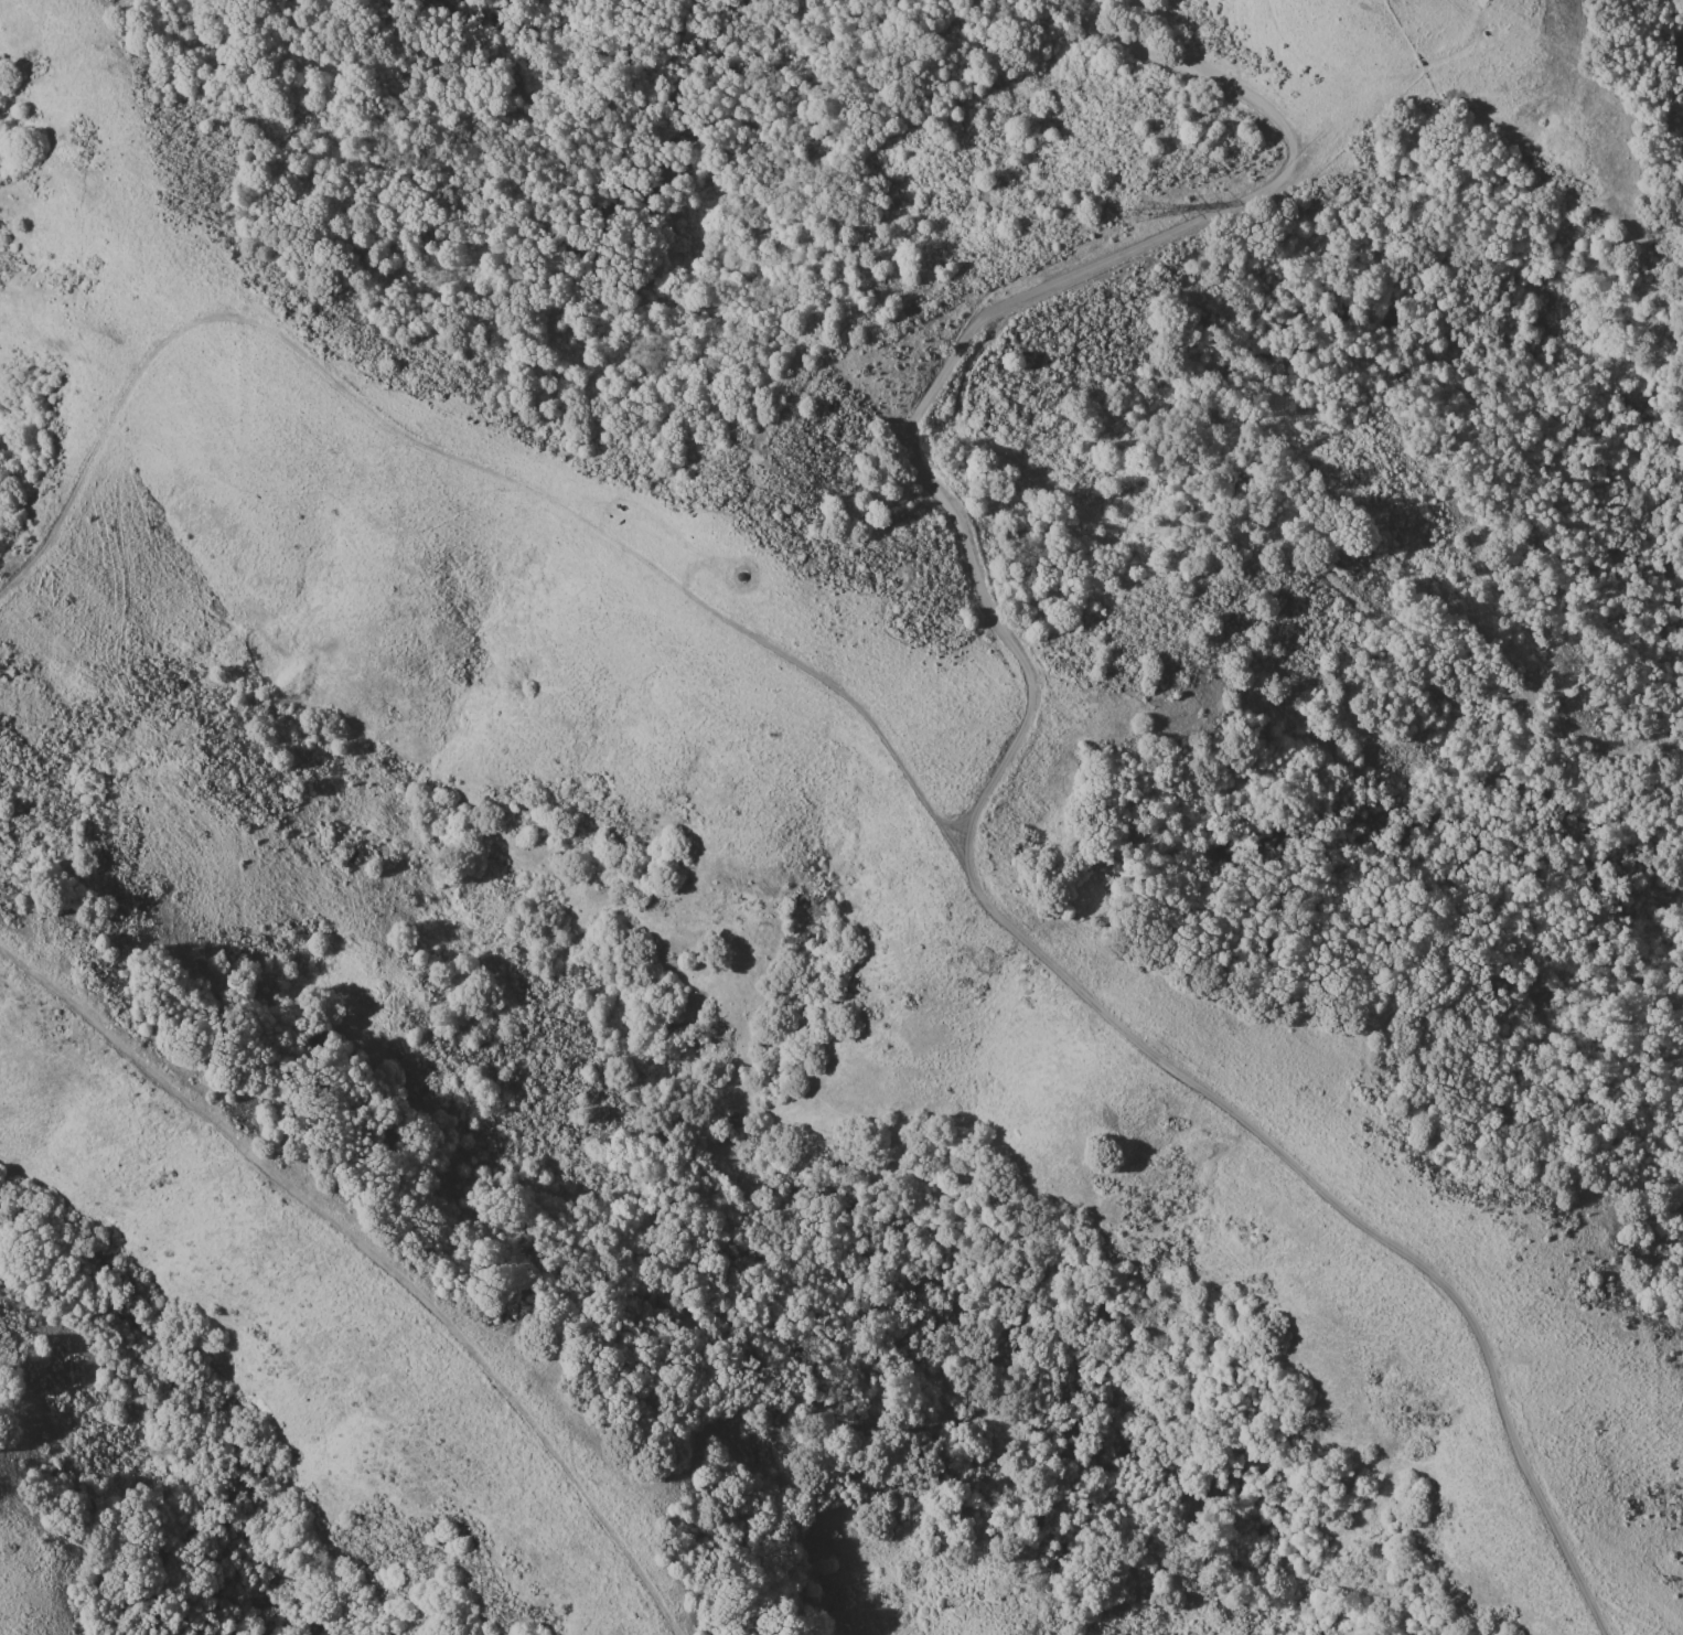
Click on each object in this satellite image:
power tower: (1141, 211)
road: (455, 458)
power tower: (1565, 658)
road: (1011, 754)
road: (379, 1255)

